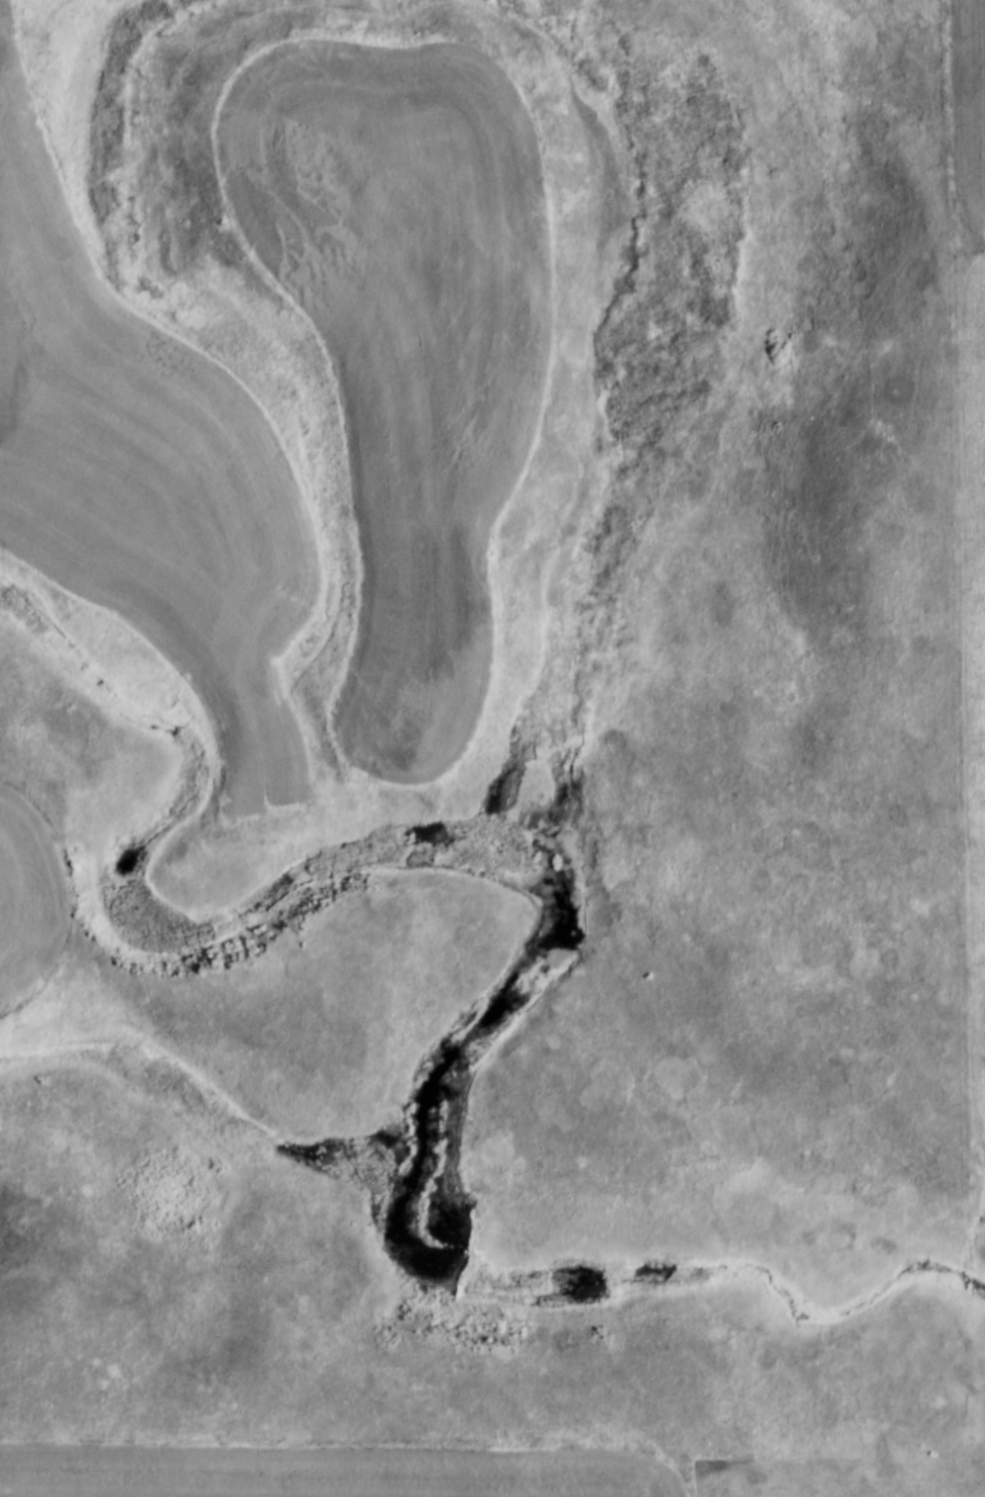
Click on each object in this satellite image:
road: (175, 1446)

